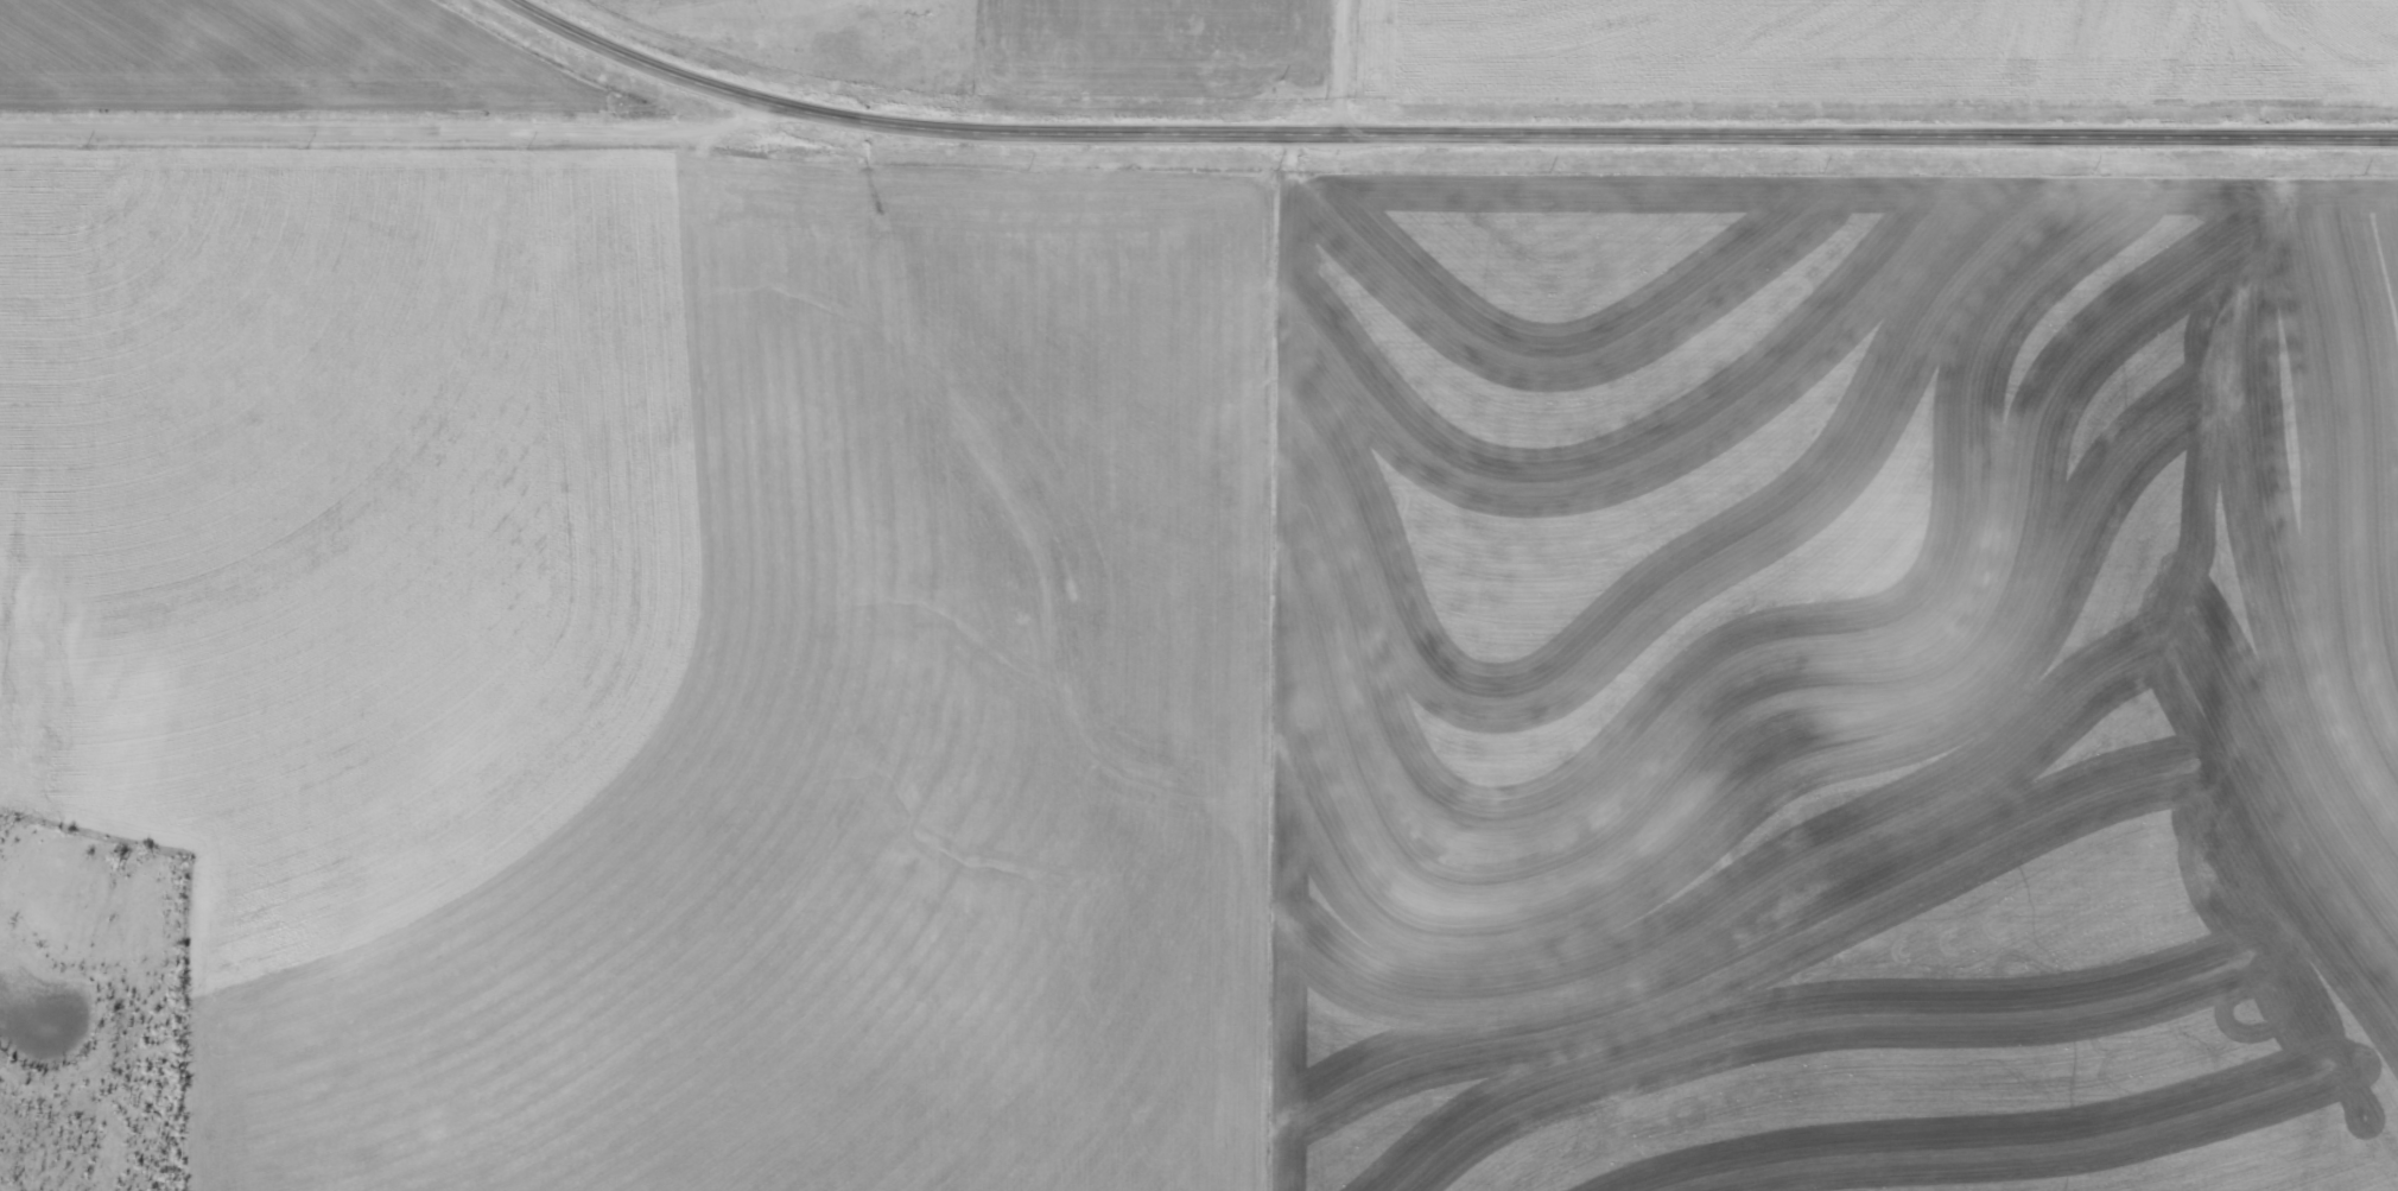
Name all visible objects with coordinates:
road: (1336, 68)
road: (464, 133)
road: (1442, 135)

